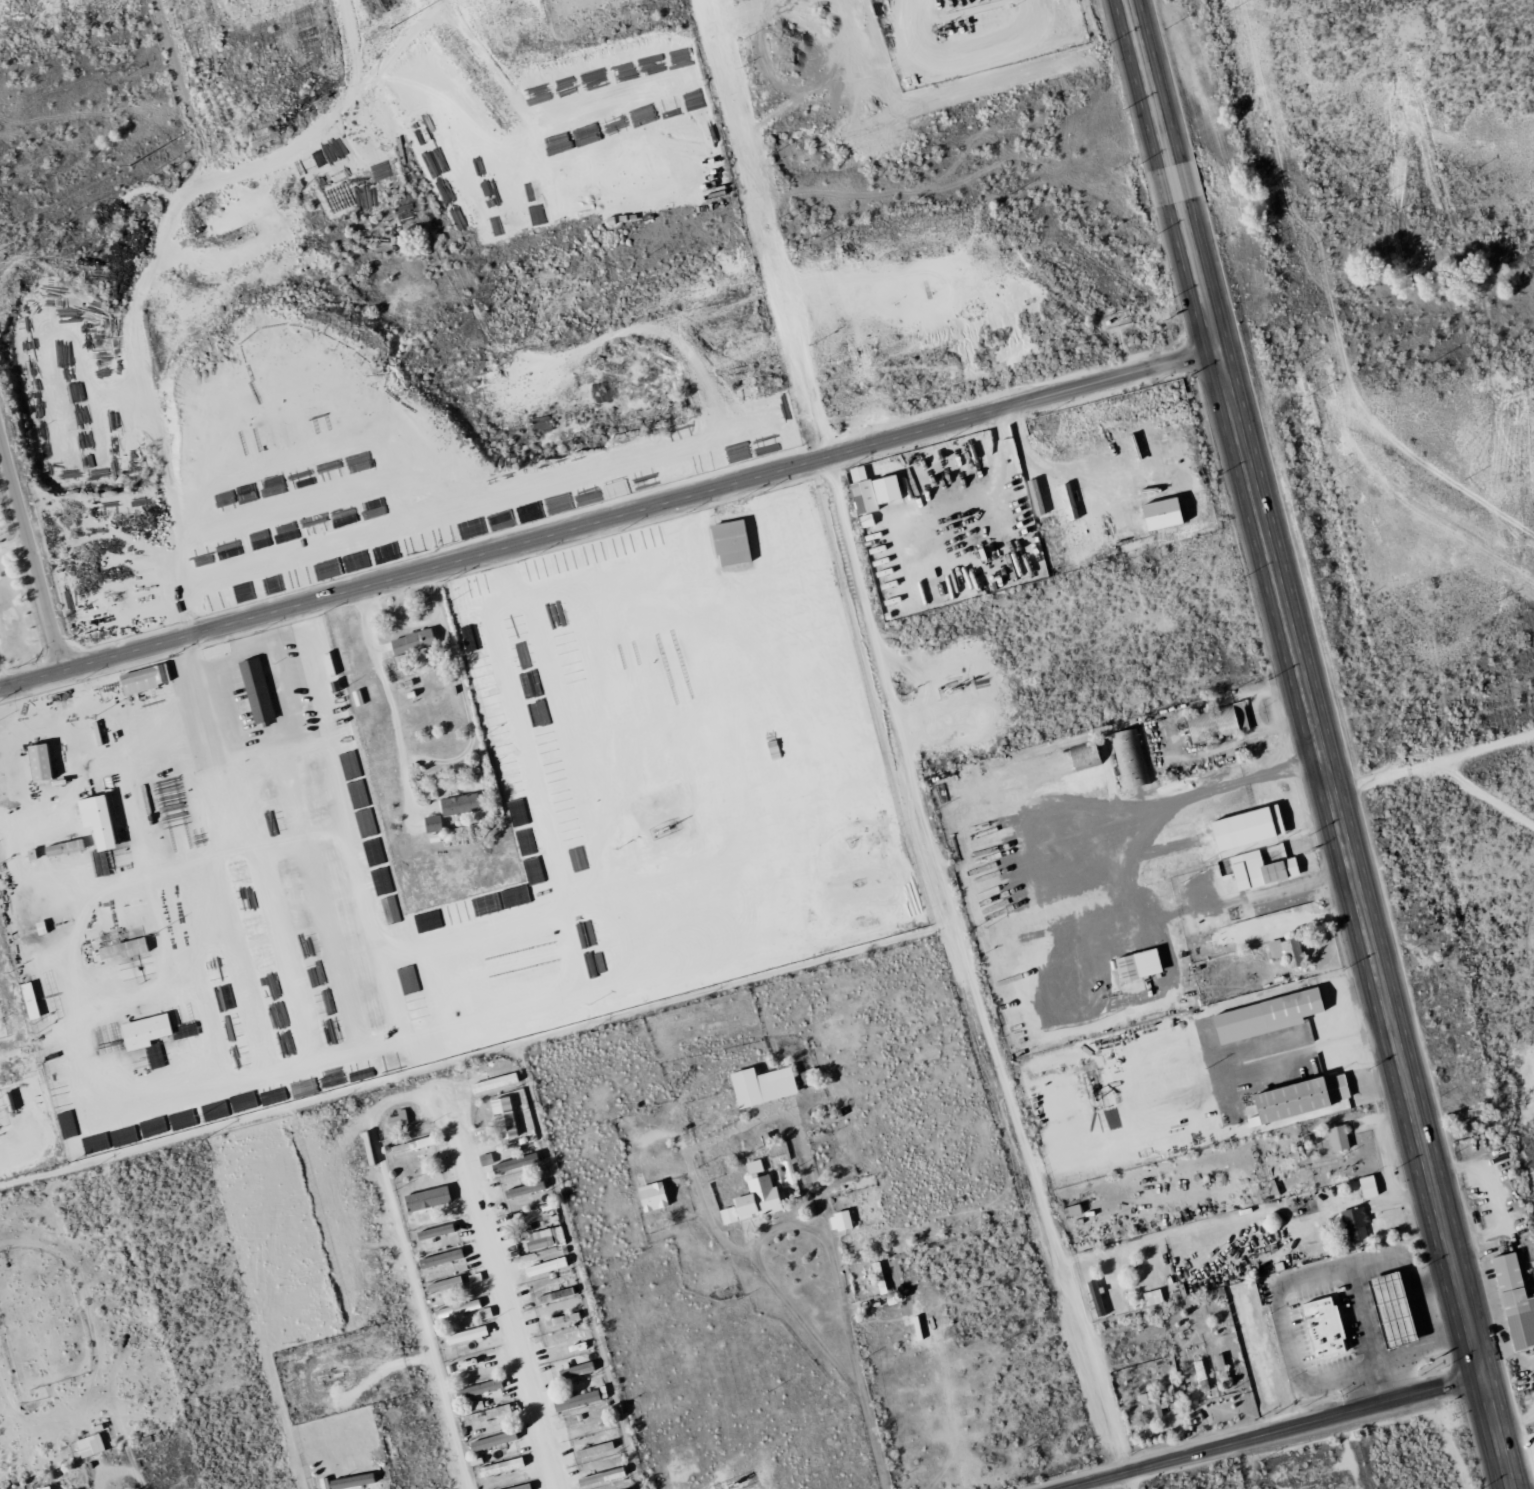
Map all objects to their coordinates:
road: (1075, 472)
building: (868, 493)
building: (1033, 496)
road: (981, 500)
building: (1066, 501)
building: (1159, 513)
road: (608, 517)
building: (728, 542)
road: (33, 547)
building: (415, 641)
building: (406, 660)
building: (147, 679)
building: (258, 691)
road: (389, 704)
building: (1214, 723)
road: (1318, 744)
building: (1126, 751)
building: (1081, 757)
building: (45, 763)
building: (462, 804)
building: (103, 821)
building: (435, 824)
building: (1243, 826)
building: (1256, 849)
building: (1252, 870)
building: (126, 943)
building: (1284, 950)
building: (1135, 964)
building: (32, 1001)
building: (1263, 1015)
building: (149, 1031)
building: (1147, 1041)
road: (474, 1055)
building: (492, 1082)
building: (758, 1085)
building: (1296, 1097)
building: (501, 1117)
building: (396, 1119)
building: (1336, 1137)
building: (409, 1146)
building: (1139, 1148)
building: (513, 1162)
building: (1365, 1186)
building: (523, 1189)
building: (650, 1196)
building: (750, 1196)
building: (425, 1198)
building: (838, 1221)
building: (1353, 1223)
building: (433, 1231)
road: (788, 1234)
building: (542, 1238)
building: (439, 1258)
road: (408, 1262)
building: (544, 1266)
building: (876, 1275)
building: (442, 1284)
road: (501, 1295)
building: (553, 1295)
building: (1150, 1297)
building: (1512, 1303)
building: (454, 1309)
building: (1392, 1310)
building: (560, 1319)
building: (1324, 1326)
road: (794, 1328)
building: (463, 1335)
road: (850, 1365)
building: (575, 1370)
building: (476, 1389)
building: (573, 1400)
building: (1151, 1404)
building: (485, 1414)
road: (1272, 1432)
building: (490, 1441)
building: (87, 1445)
building: (592, 1449)
building: (498, 1467)
building: (597, 1477)
building: (349, 1481)
building: (519, 1487)
building: (41, 1488)

